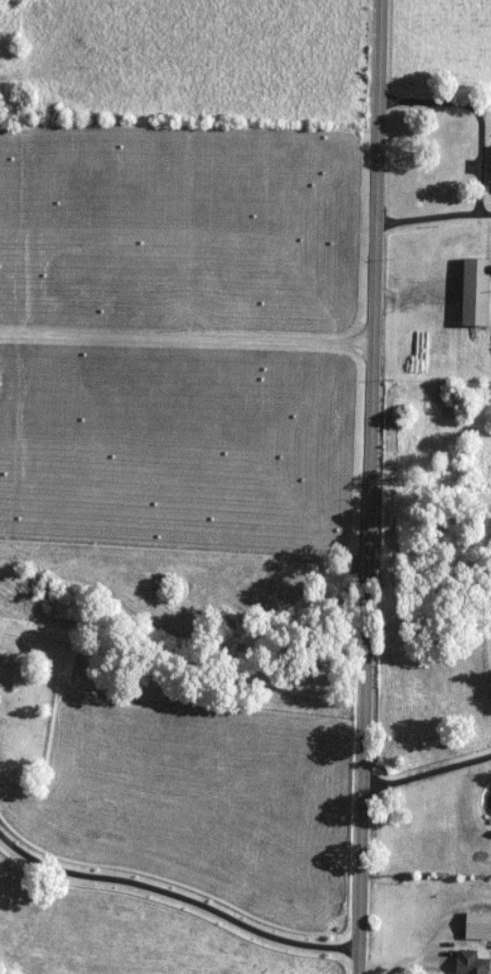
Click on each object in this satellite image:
road: (478, 160)
building: (476, 293)
road: (188, 338)
road: (372, 487)
road: (428, 772)
road: (178, 896)
building: (472, 962)

